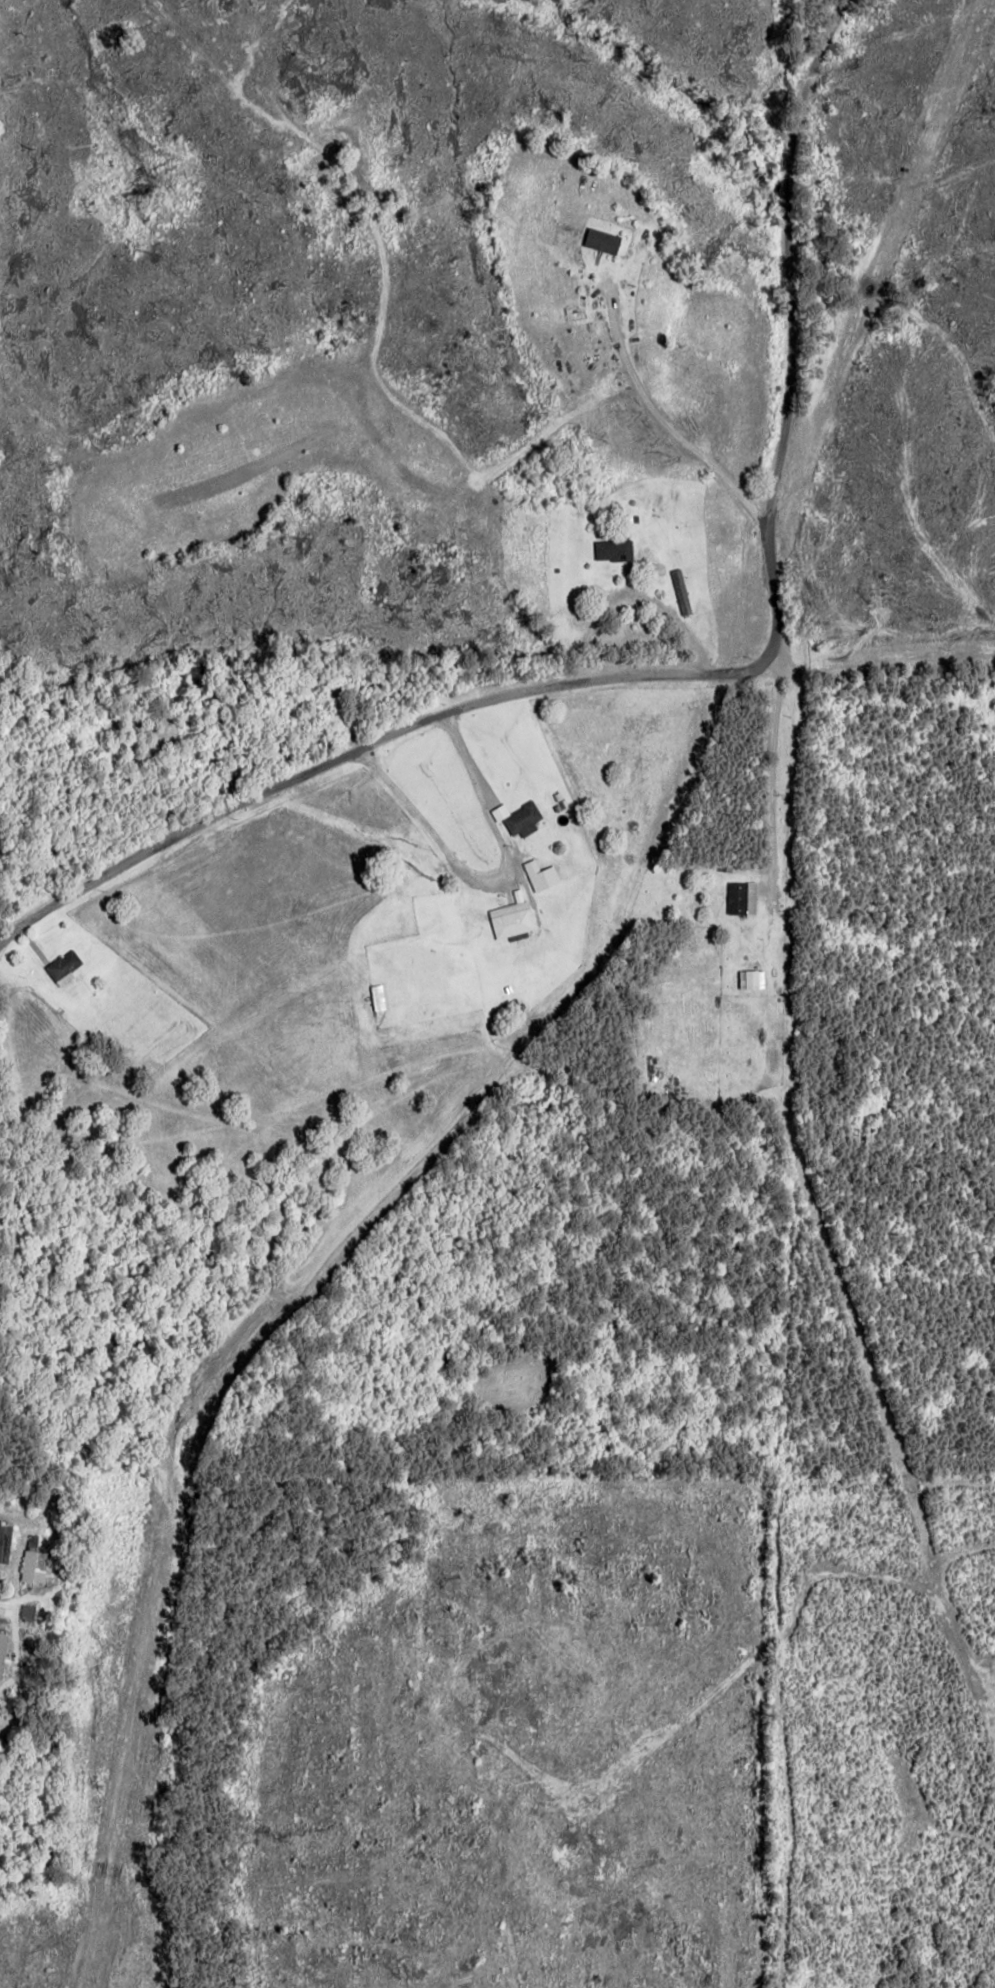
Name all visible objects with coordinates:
building: (602, 241)
building: (613, 550)
road: (692, 683)
building: (518, 817)
building: (541, 874)
building: (741, 897)
building: (63, 964)
building: (752, 978)
building: (4, 1542)
building: (39, 1566)
building: (2, 1649)

